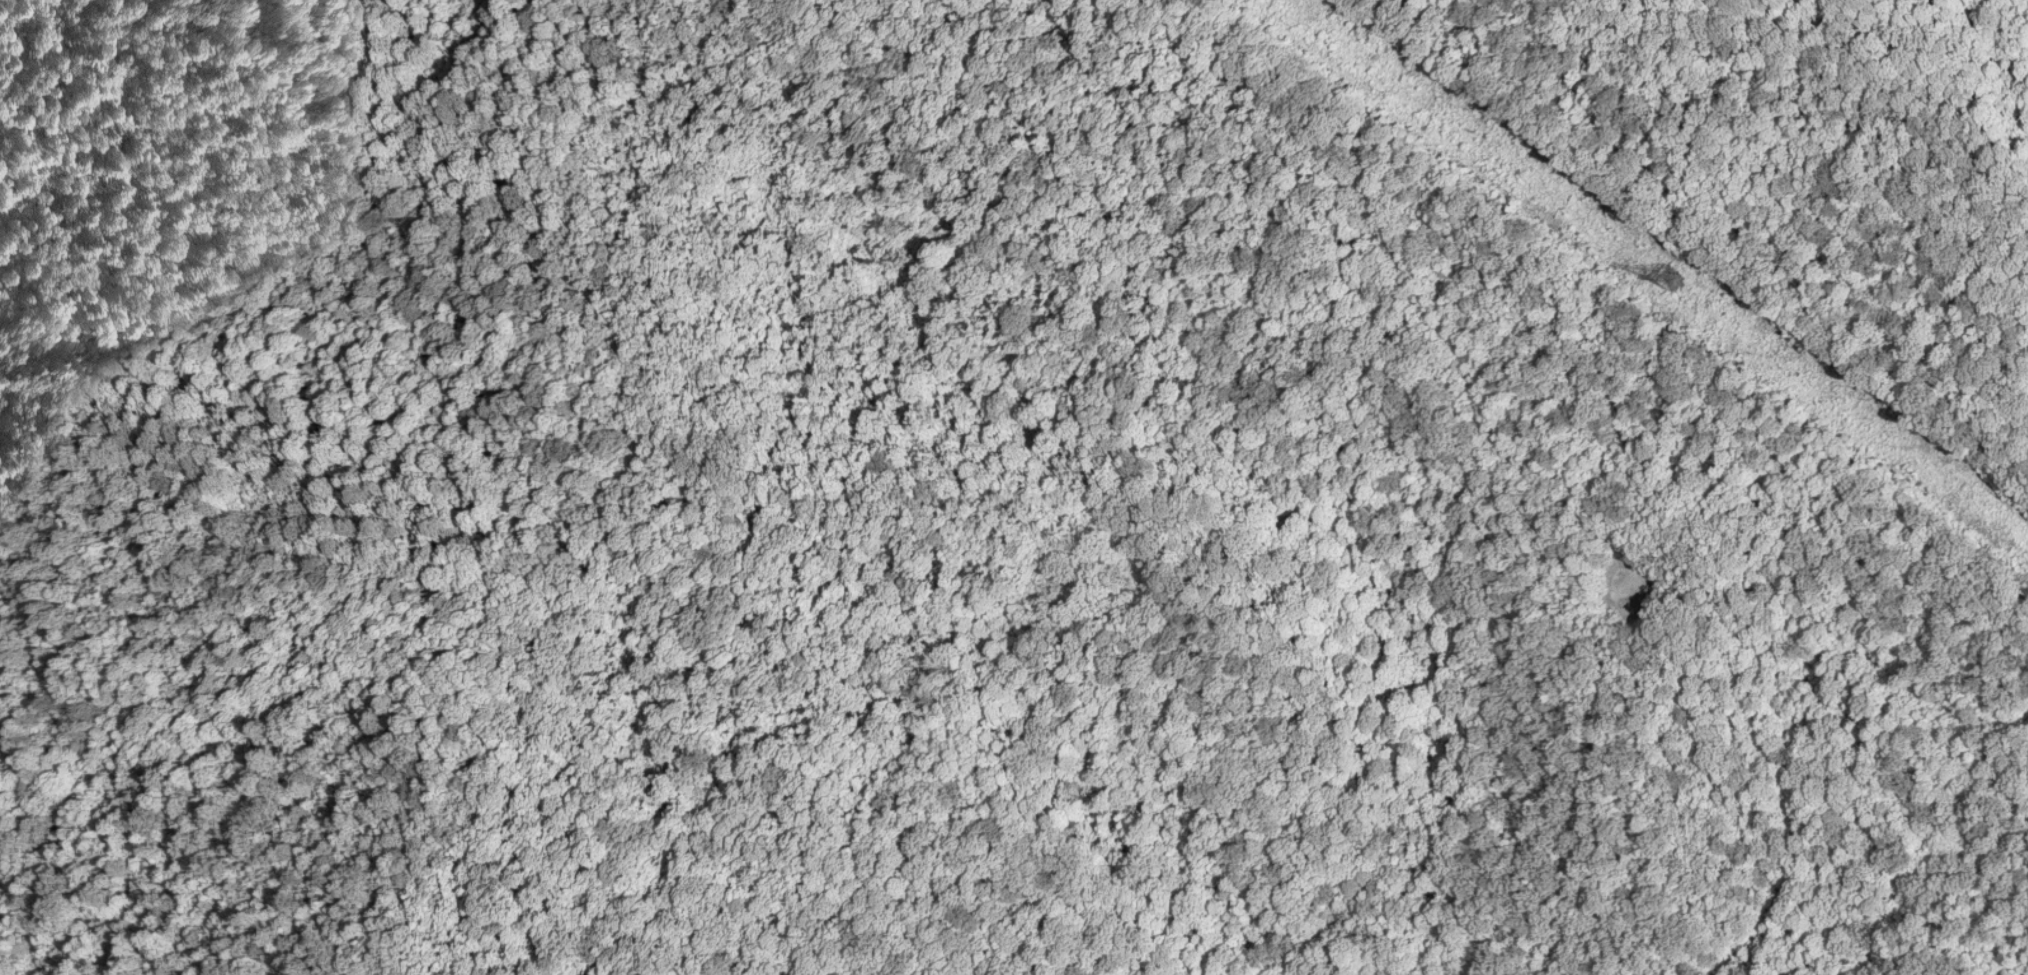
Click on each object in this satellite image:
power tower: (1667, 276)

